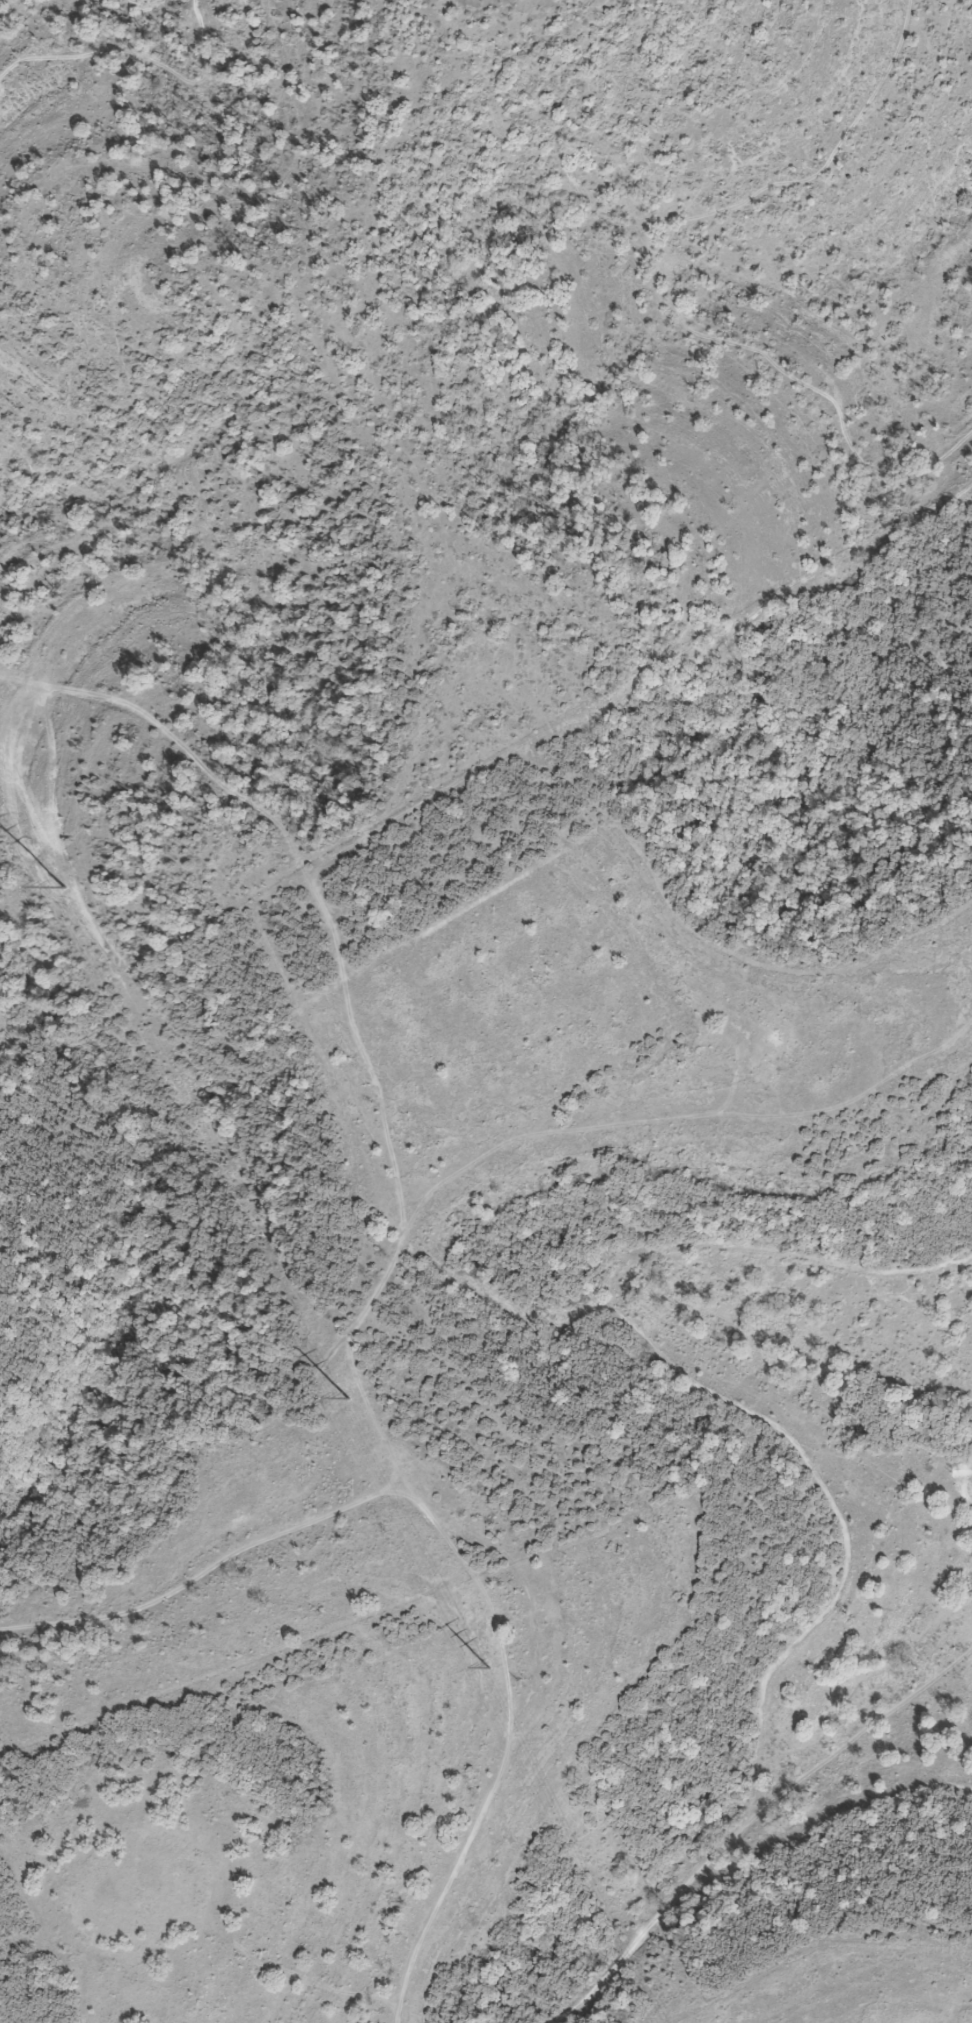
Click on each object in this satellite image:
power tower: (65, 888)
power tower: (347, 1398)
power tower: (491, 1668)

